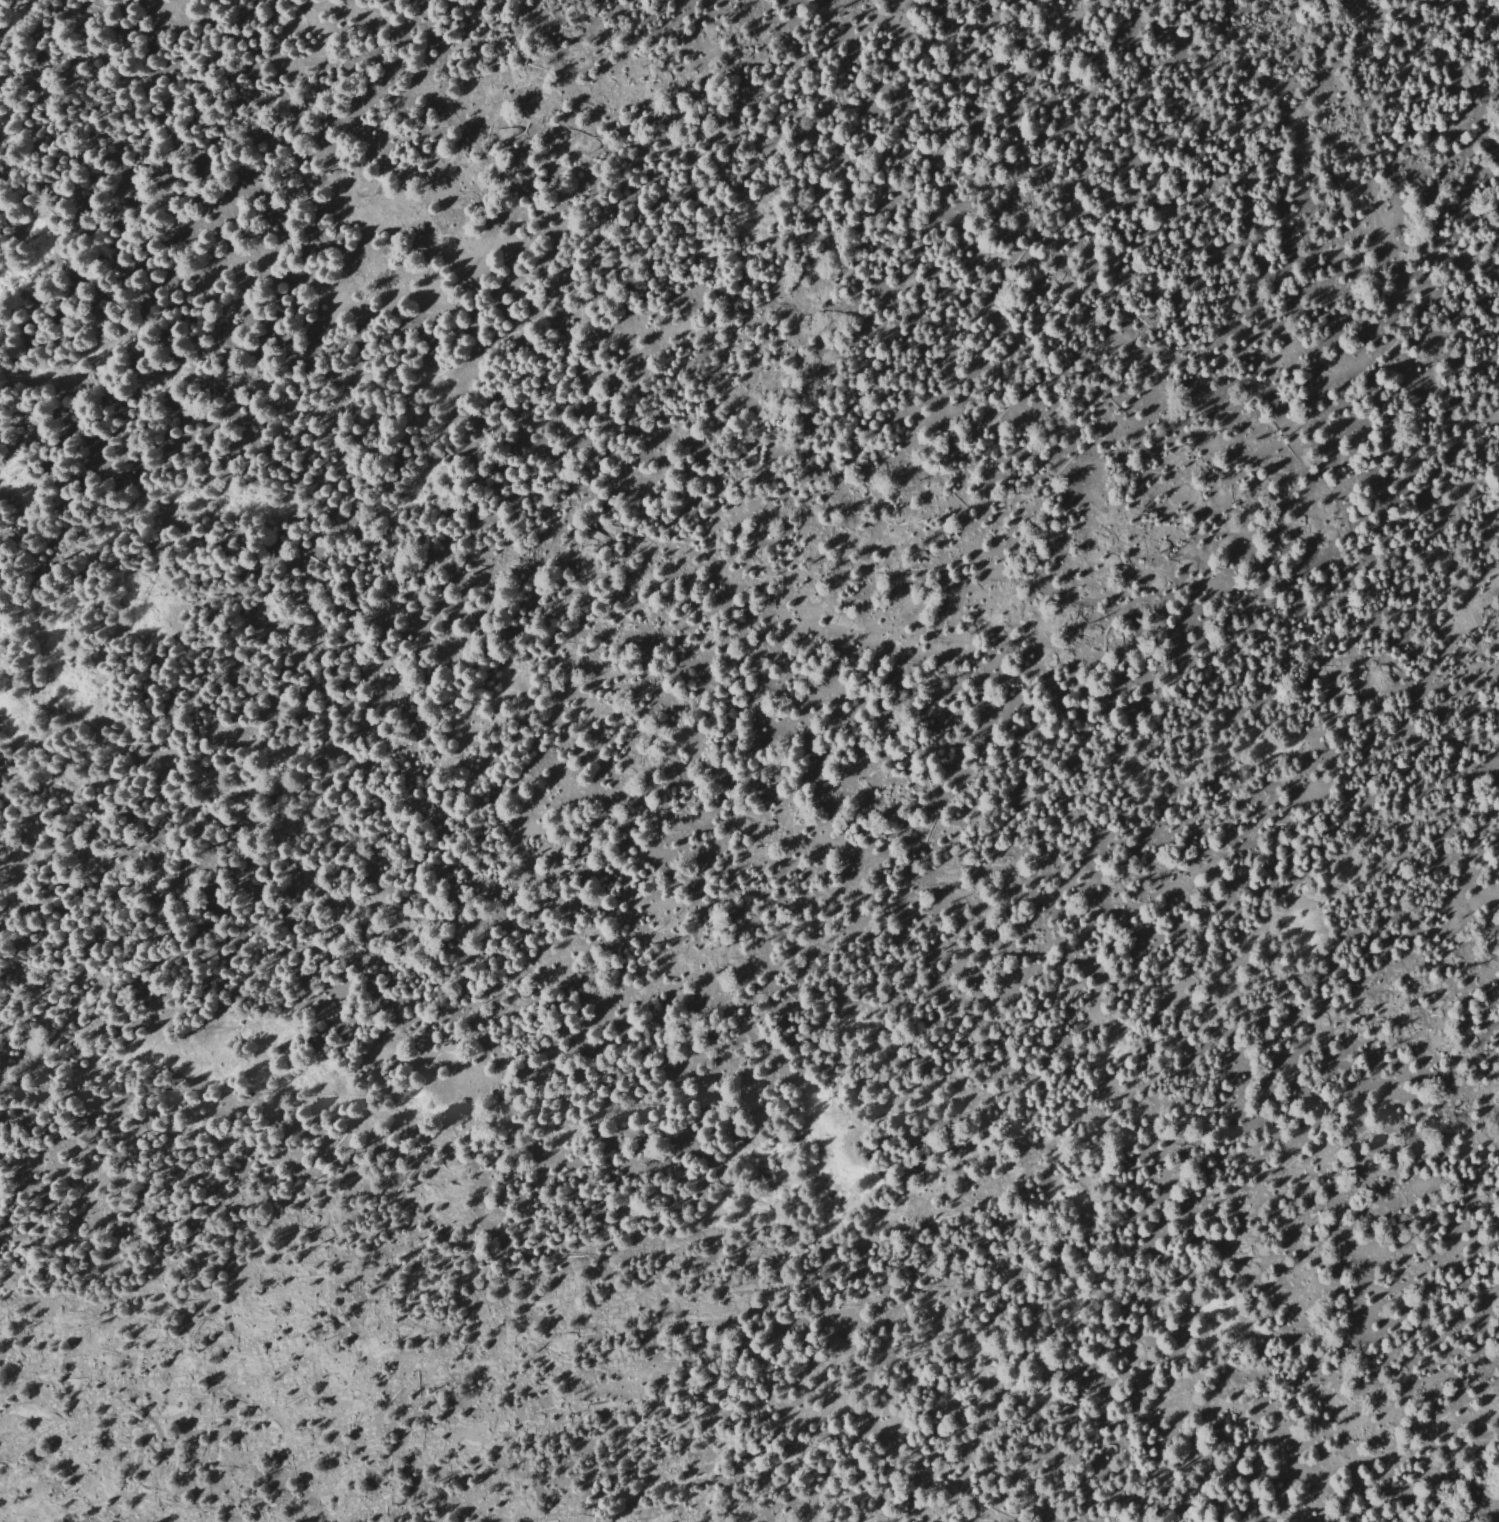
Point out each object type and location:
road: (1423, 335)
road: (602, 1063)

